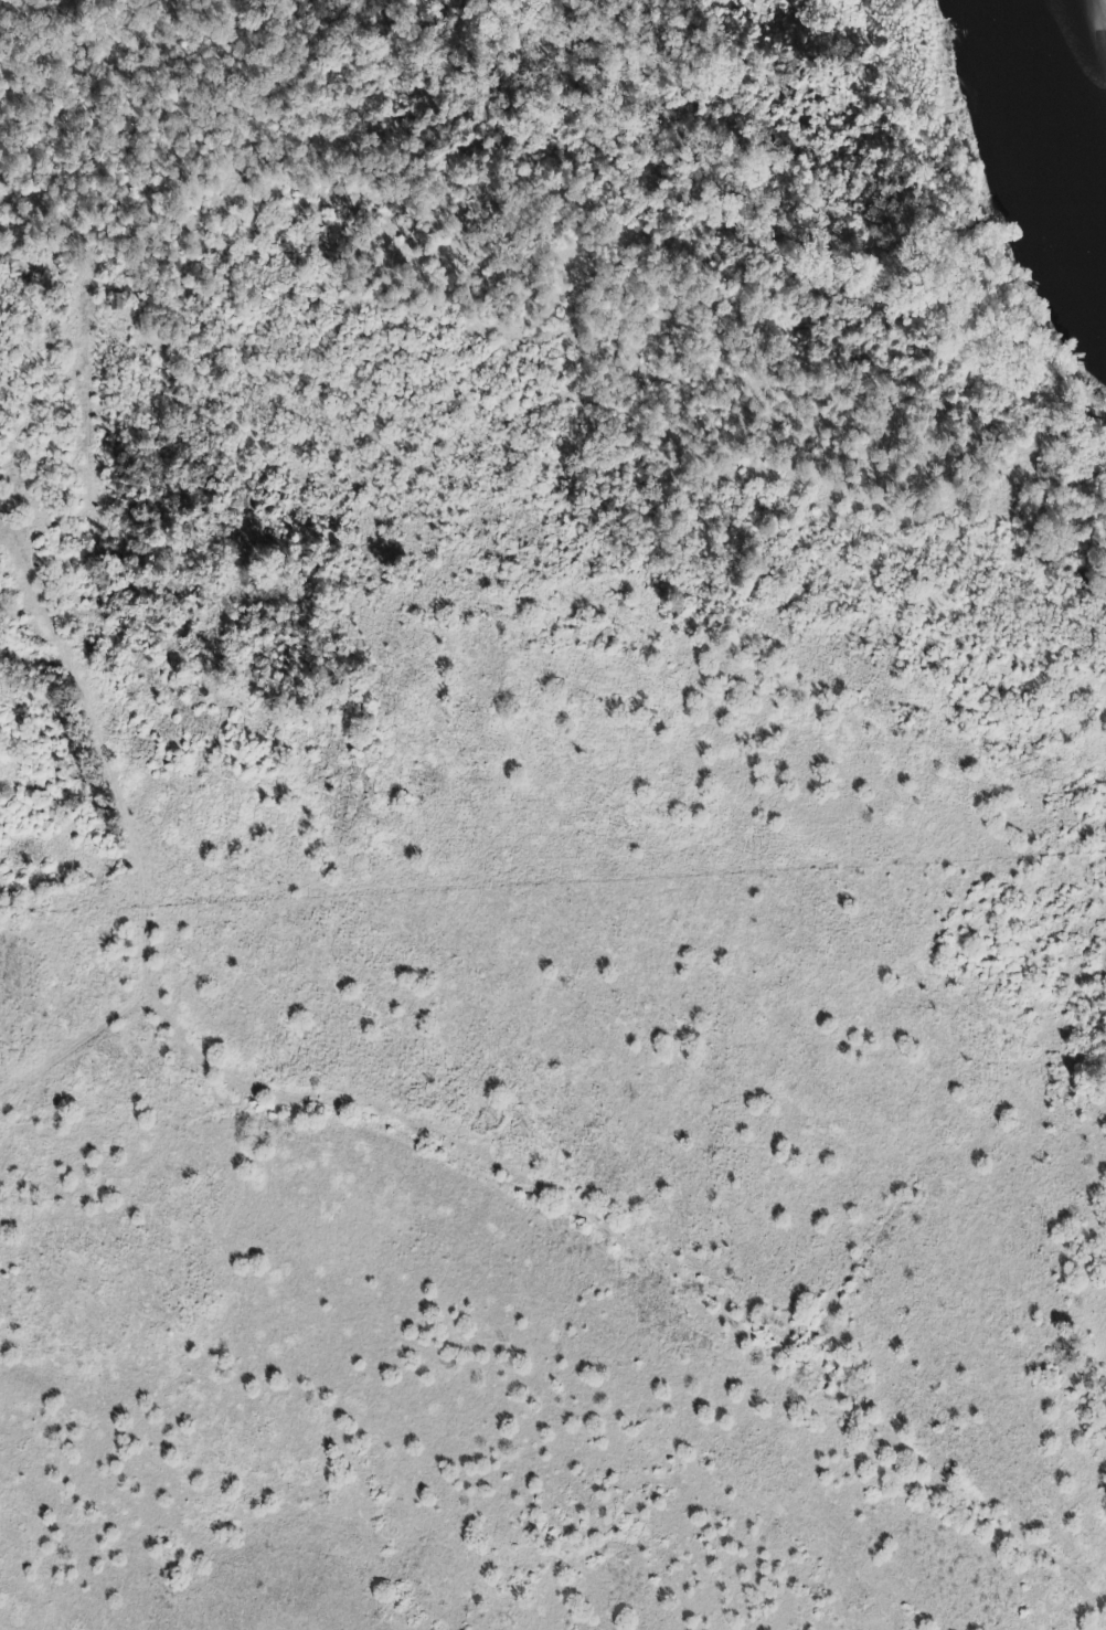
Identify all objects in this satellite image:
river: (1064, 99)
road: (92, 508)
road: (11, 522)
road: (86, 865)
road: (116, 1112)
road: (411, 1121)

